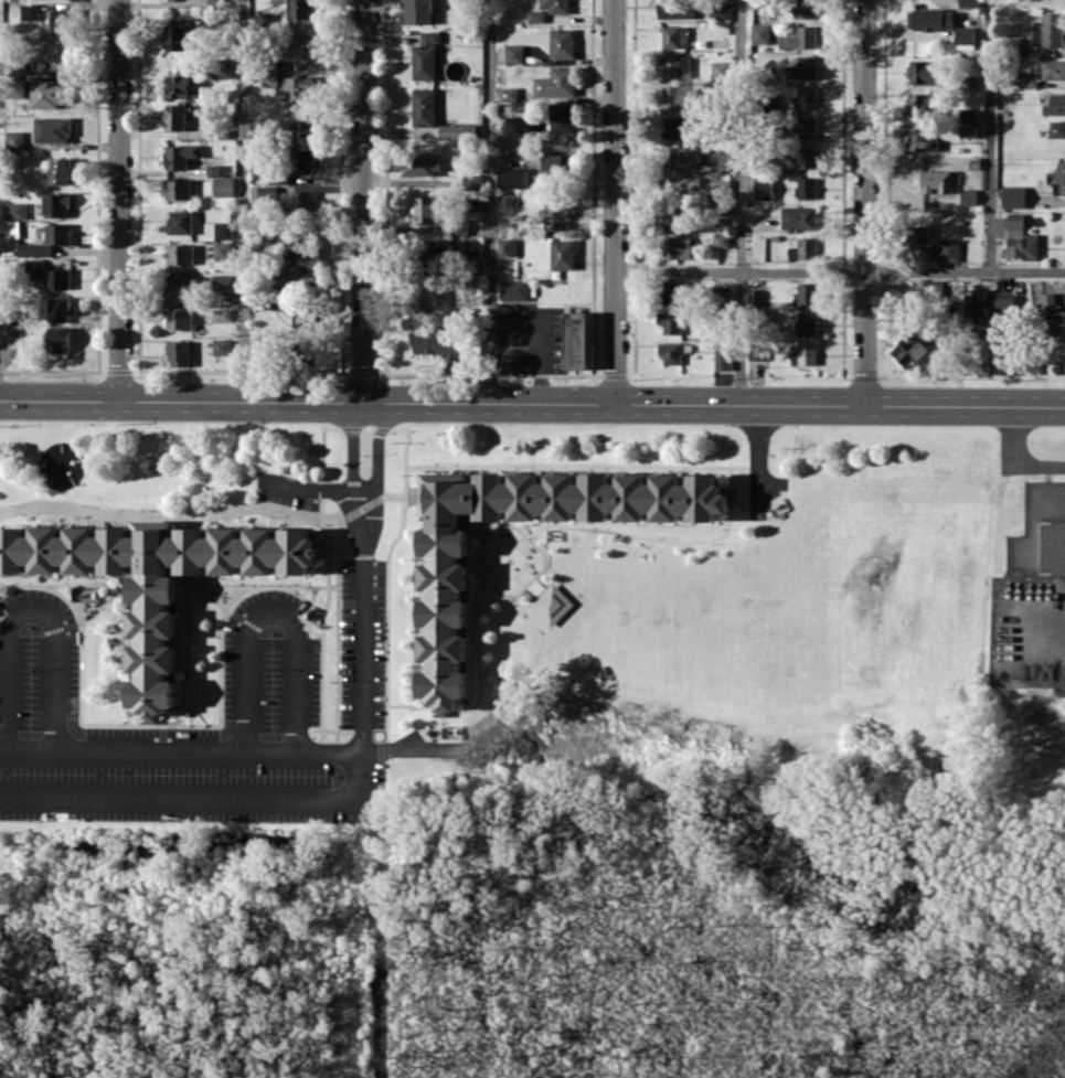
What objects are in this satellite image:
building: (675, 8)
building: (805, 8)
building: (300, 9)
building: (547, 9)
building: (721, 10)
building: (30, 11)
building: (418, 11)
building: (929, 19)
building: (61, 22)
building: (1048, 29)
building: (759, 33)
building: (965, 34)
building: (175, 36)
building: (674, 36)
building: (800, 38)
building: (562, 43)
building: (298, 46)
building: (513, 53)
building: (60, 55)
building: (425, 56)
building: (674, 66)
building: (802, 67)
building: (720, 68)
building: (1053, 68)
building: (925, 72)
building: (1029, 79)
building: (556, 82)
building: (967, 82)
building: (178, 85)
building: (298, 87)
building: (14, 88)
building: (50, 93)
building: (509, 94)
building: (677, 95)
building: (806, 96)
building: (922, 104)
building: (1055, 105)
building: (424, 106)
building: (968, 115)
building: (174, 117)
building: (563, 118)
building: (305, 124)
building: (515, 126)
building: (674, 126)
building: (806, 126)
building: (1057, 128)
building: (53, 129)
building: (458, 130)
building: (967, 130)
road: (989, 136)
building: (922, 138)
building: (15, 140)
building: (180, 154)
building: (680, 157)
building: (800, 157)
building: (303, 160)
building: (720, 160)
building: (419, 163)
building: (557, 163)
building: (60, 170)
building: (216, 170)
building: (513, 177)
building: (1059, 179)
building: (936, 181)
building: (224, 185)
building: (679, 185)
building: (721, 186)
building: (807, 186)
building: (764, 188)
building: (178, 189)
building: (267, 194)
building: (968, 196)
building: (1013, 196)
road: (119, 200)
road: (244, 201)
building: (300, 201)
road: (363, 201)
road: (615, 201)
road: (491, 202)
building: (507, 202)
road: (739, 202)
road: (864, 203)
building: (56, 204)
building: (425, 209)
building: (15, 210)
building: (556, 212)
building: (671, 217)
building: (800, 217)
building: (180, 221)
building: (1015, 223)
building: (222, 230)
building: (919, 235)
building: (721, 239)
building: (47, 241)
building: (300, 245)
building: (438, 246)
building: (507, 246)
building: (1021, 246)
building: (472, 247)
building: (675, 247)
building: (803, 248)
building: (948, 249)
building: (222, 250)
building: (180, 253)
building: (563, 254)
building: (34, 265)
road: (840, 270)
building: (299, 276)
building: (57, 278)
building: (222, 281)
building: (181, 287)
building: (933, 287)
building: (514, 289)
building: (673, 292)
building: (807, 292)
building: (425, 295)
building: (755, 298)
building: (1005, 298)
building: (978, 303)
building: (61, 308)
building: (221, 313)
building: (1050, 313)
building: (179, 319)
building: (670, 321)
building: (807, 322)
building: (58, 339)
building: (577, 340)
building: (435, 343)
building: (222, 346)
building: (909, 351)
building: (179, 352)
building: (670, 352)
building: (805, 354)
building: (722, 359)
road: (542, 360)
road: (532, 404)
road: (377, 447)
road: (352, 448)
road: (757, 461)
road: (1014, 461)
road: (581, 463)
road: (731, 478)
road: (309, 488)
road: (213, 511)
road: (757, 513)
road: (535, 532)
road: (387, 574)
road: (328, 576)
building: (157, 578)
road: (58, 584)
road: (227, 585)
road: (309, 586)
road: (196, 587)
road: (9, 588)
road: (108, 594)
building: (443, 594)
building: (552, 604)
road: (210, 608)
road: (30, 609)
road: (299, 609)
road: (2, 610)
road: (270, 616)
road: (303, 617)
parking lot: (362, 642)
road: (338, 644)
road: (187, 651)
road: (119, 652)
road: (415, 692)
road: (409, 704)
road: (135, 713)
road: (443, 718)
road: (177, 725)
road: (328, 728)
parking lot: (175, 729)
road: (425, 750)
road: (211, 751)
road: (332, 798)

